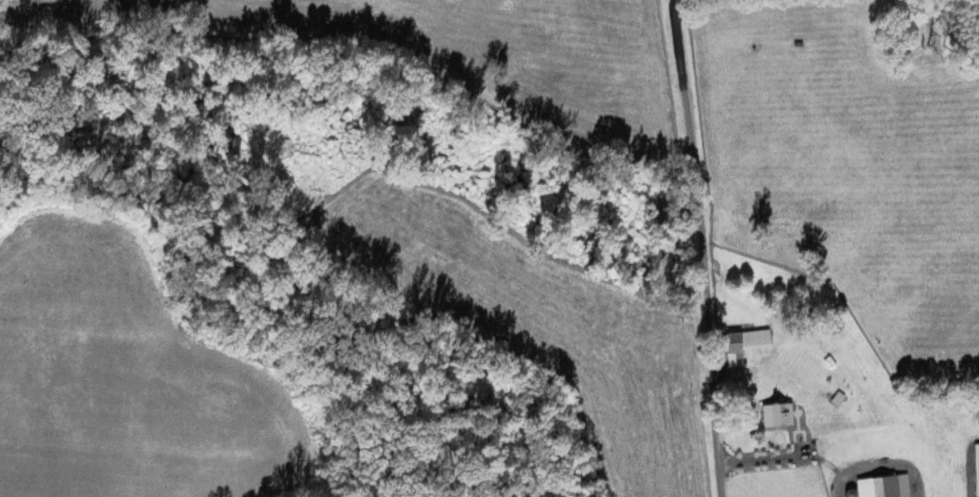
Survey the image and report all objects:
building: (747, 344)
building: (779, 414)
road: (747, 424)
building: (977, 466)
building: (885, 486)

